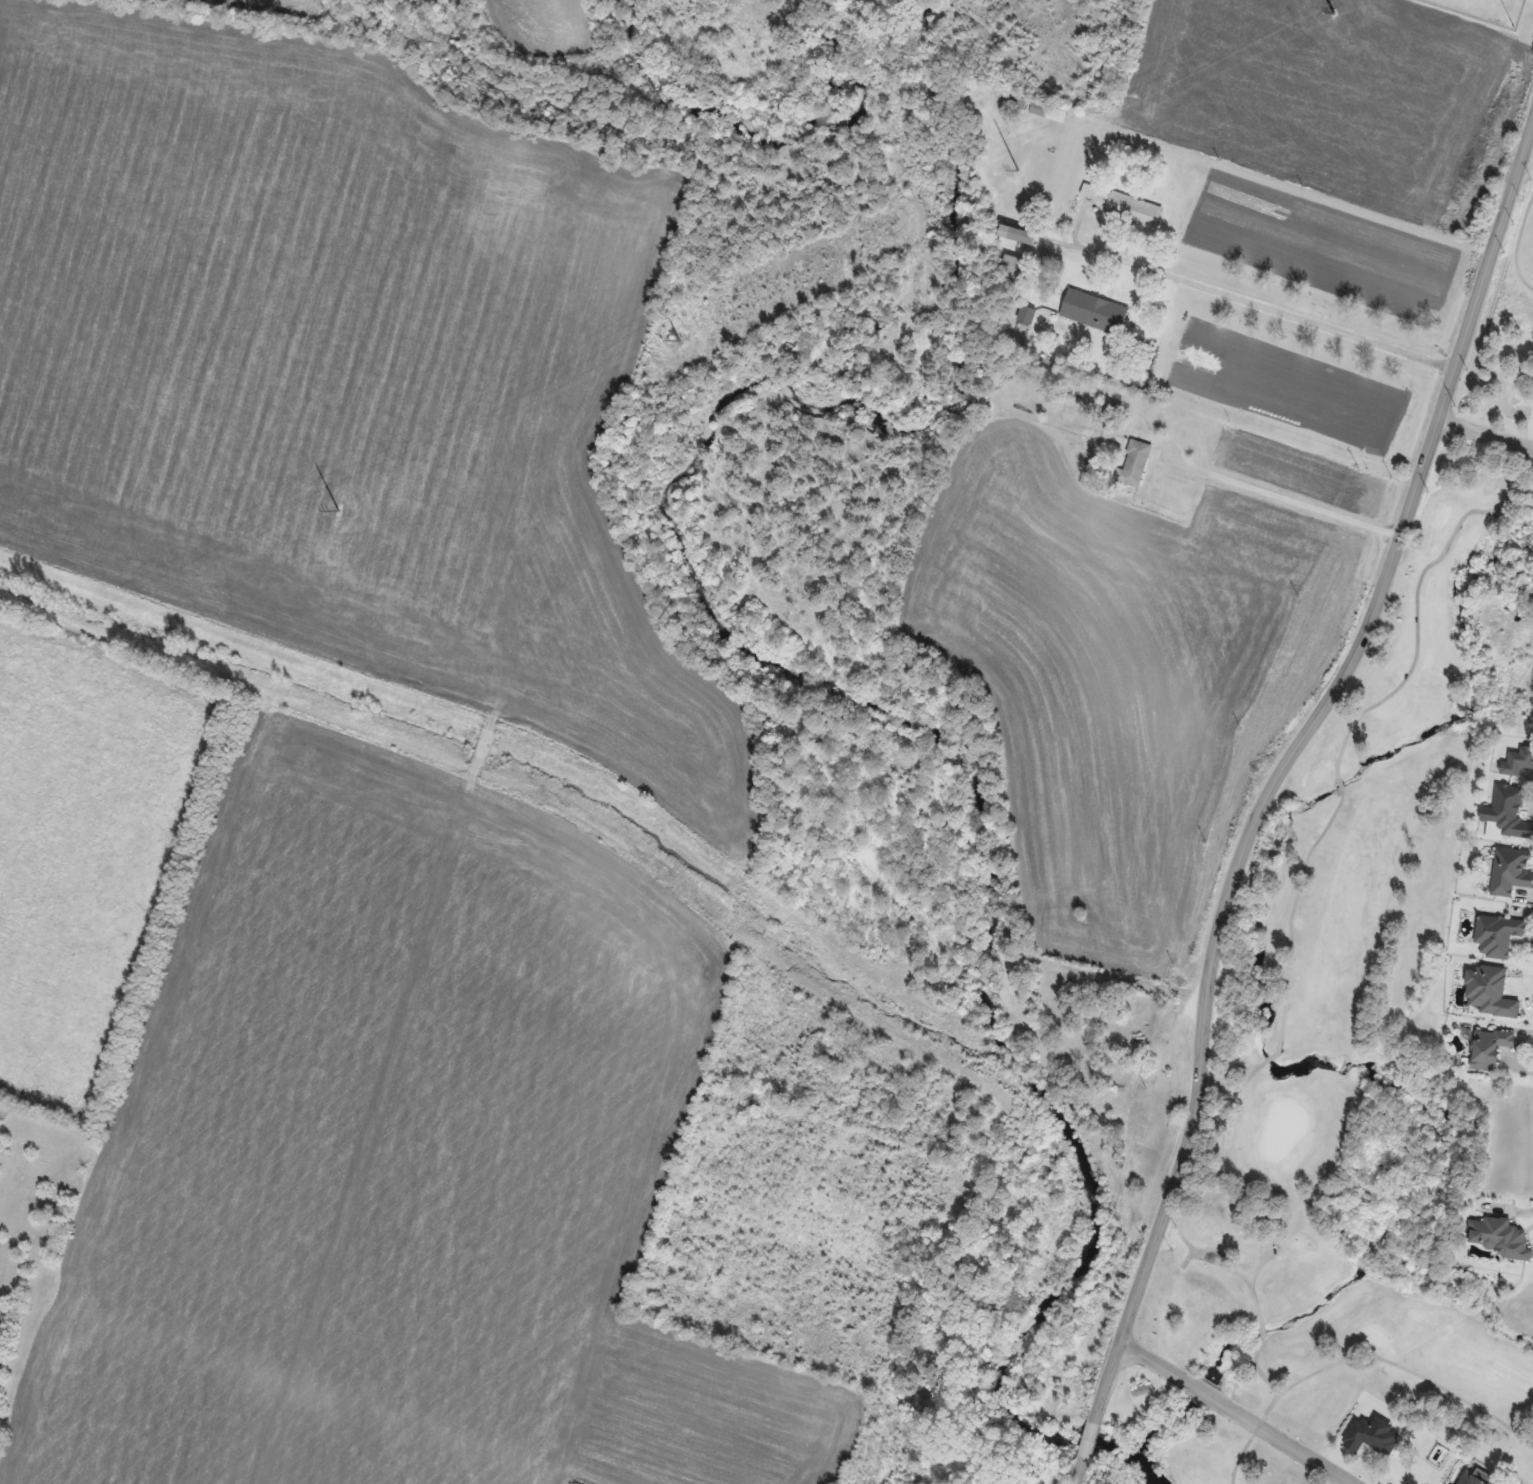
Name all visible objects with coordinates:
power substation: (1487, 10)
power tower: (1333, 14)
building: (1034, 108)
power tower: (1019, 171)
building: (1126, 208)
building: (1013, 234)
road: (1517, 248)
building: (1015, 267)
road: (1260, 303)
building: (1095, 312)
power tower: (683, 340)
road: (1484, 436)
building: (1135, 464)
road: (1288, 501)
power tower: (339, 511)
road: (1415, 607)
power tower: (1, 679)
building: (484, 747)
building: (1518, 763)
road: (1273, 792)
building: (1509, 813)
building: (1511, 872)
building: (1498, 935)
park: (1384, 1047)
building: (1490, 1048)
road: (1251, 1072)
building: (1496, 1239)
road: (1262, 1247)
road: (1381, 1359)
road: (1233, 1411)
building: (1373, 1432)
road: (1251, 1434)
building: (1470, 1476)

